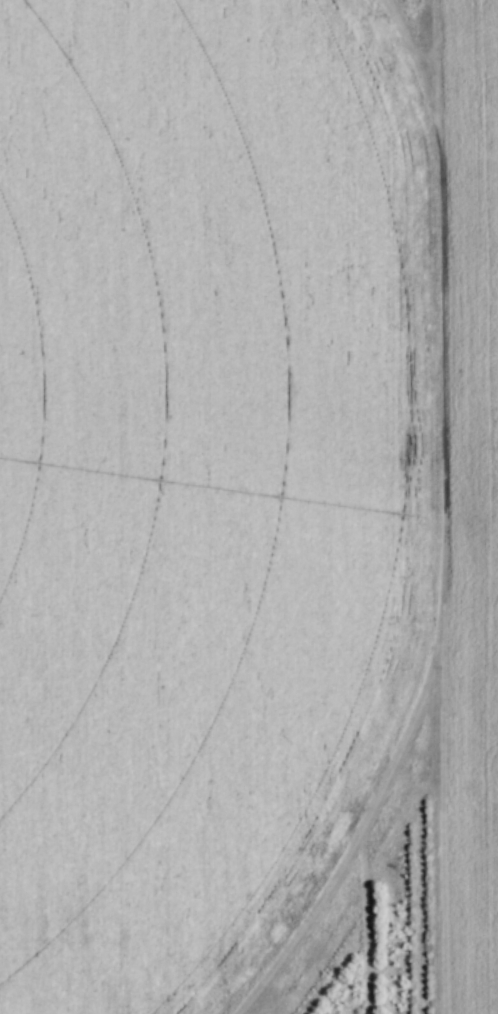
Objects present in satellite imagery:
crop: (238, 482)

